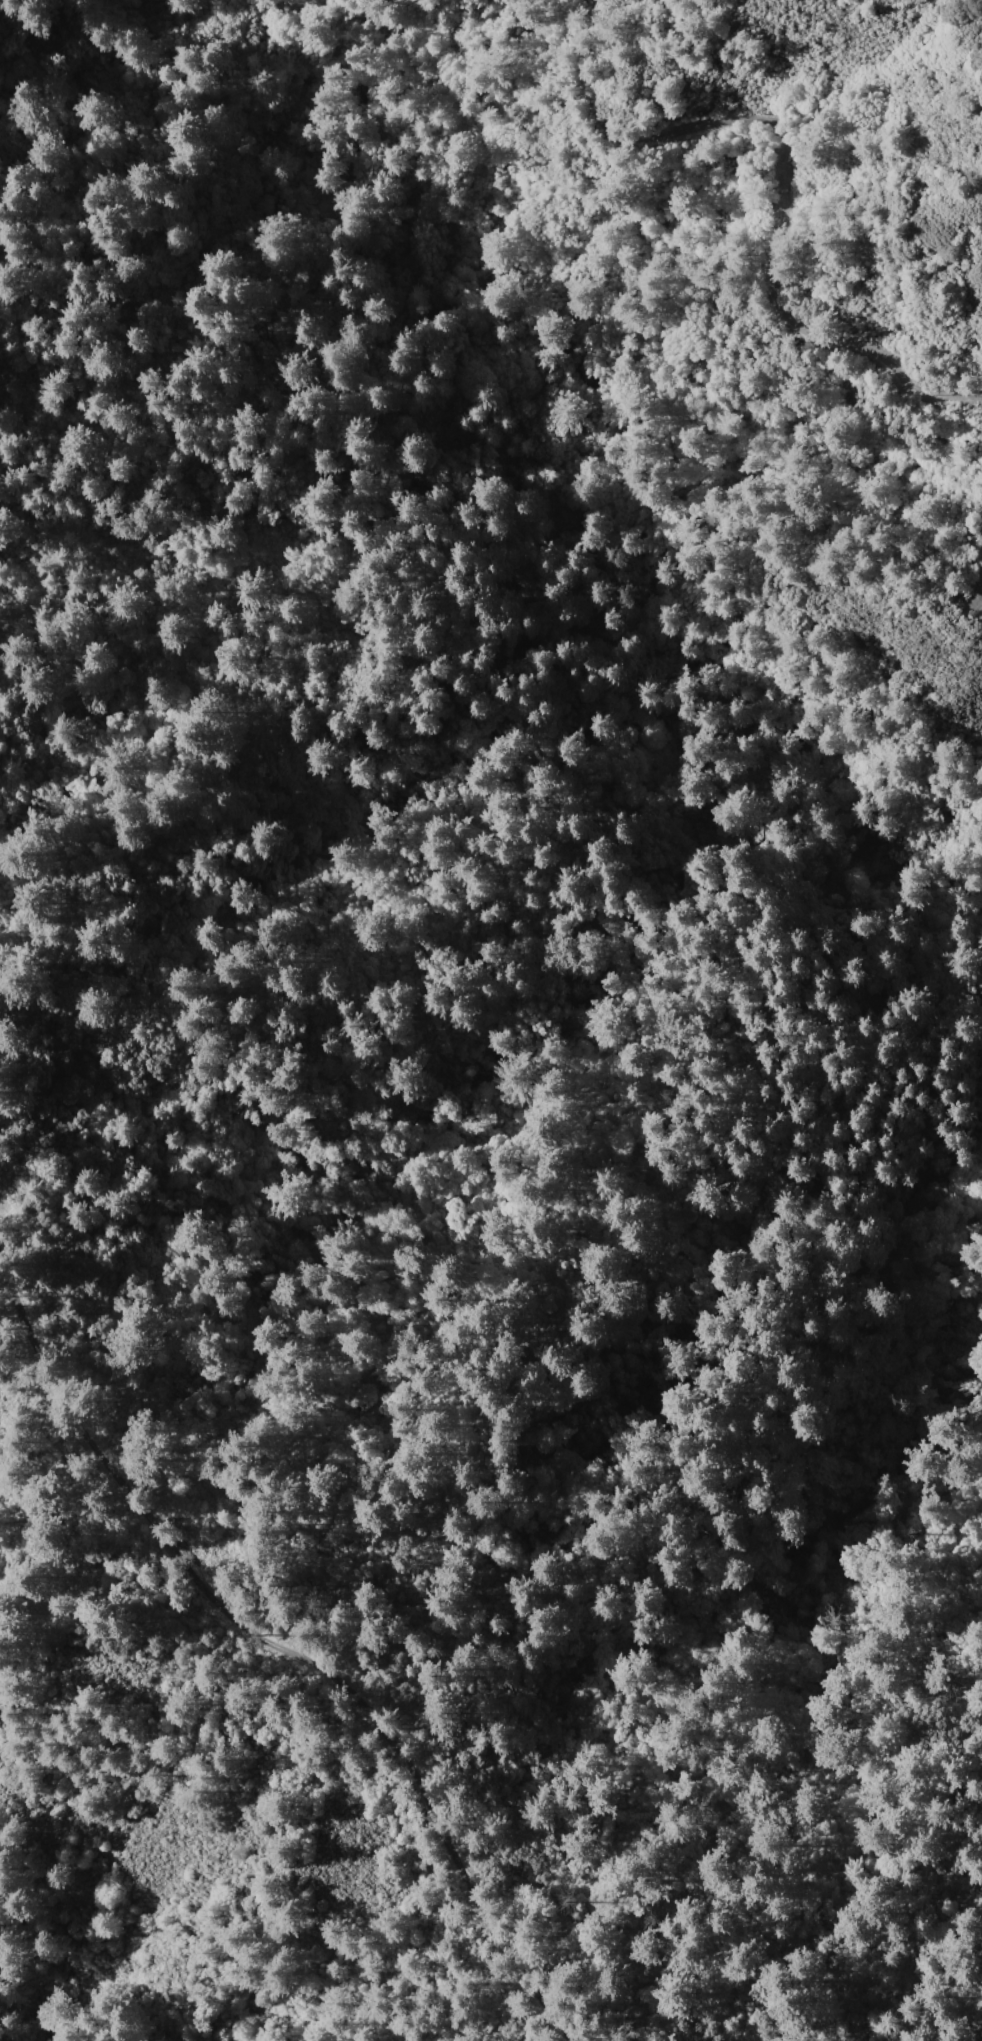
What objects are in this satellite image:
road: (779, 184)
road: (283, 1646)

